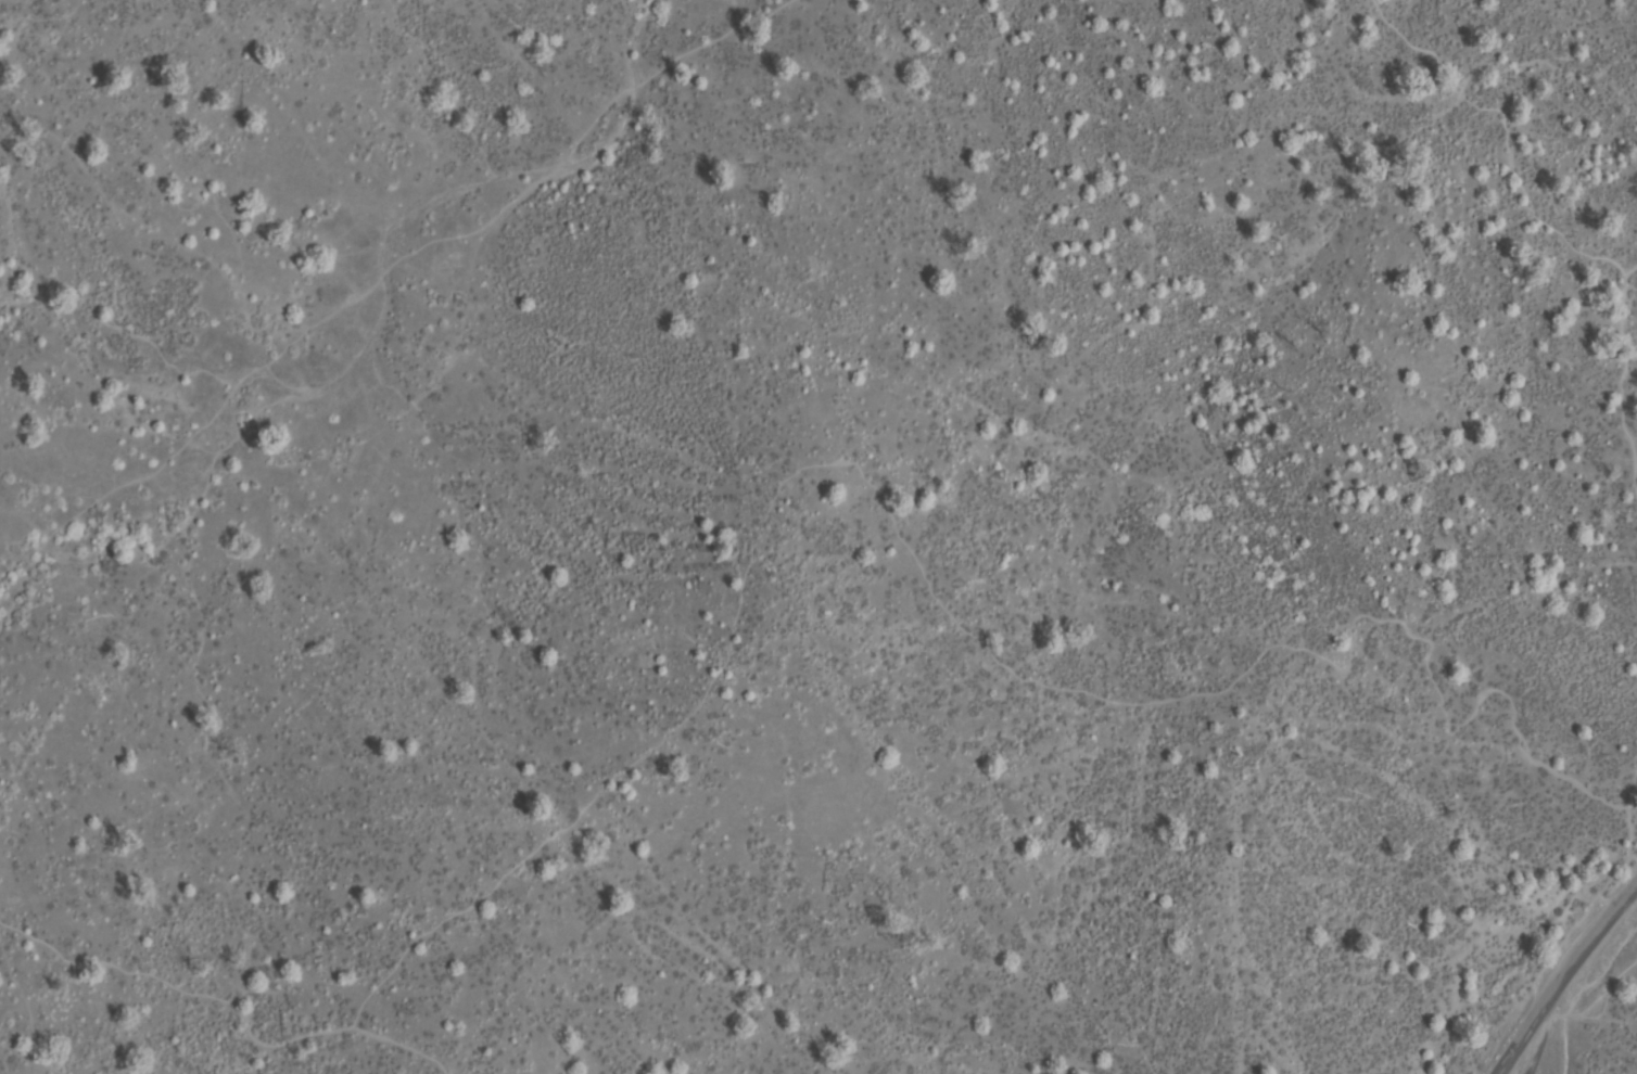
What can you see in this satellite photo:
road: (554, 175)
road: (1552, 962)
road: (229, 1006)
road: (1581, 1007)

